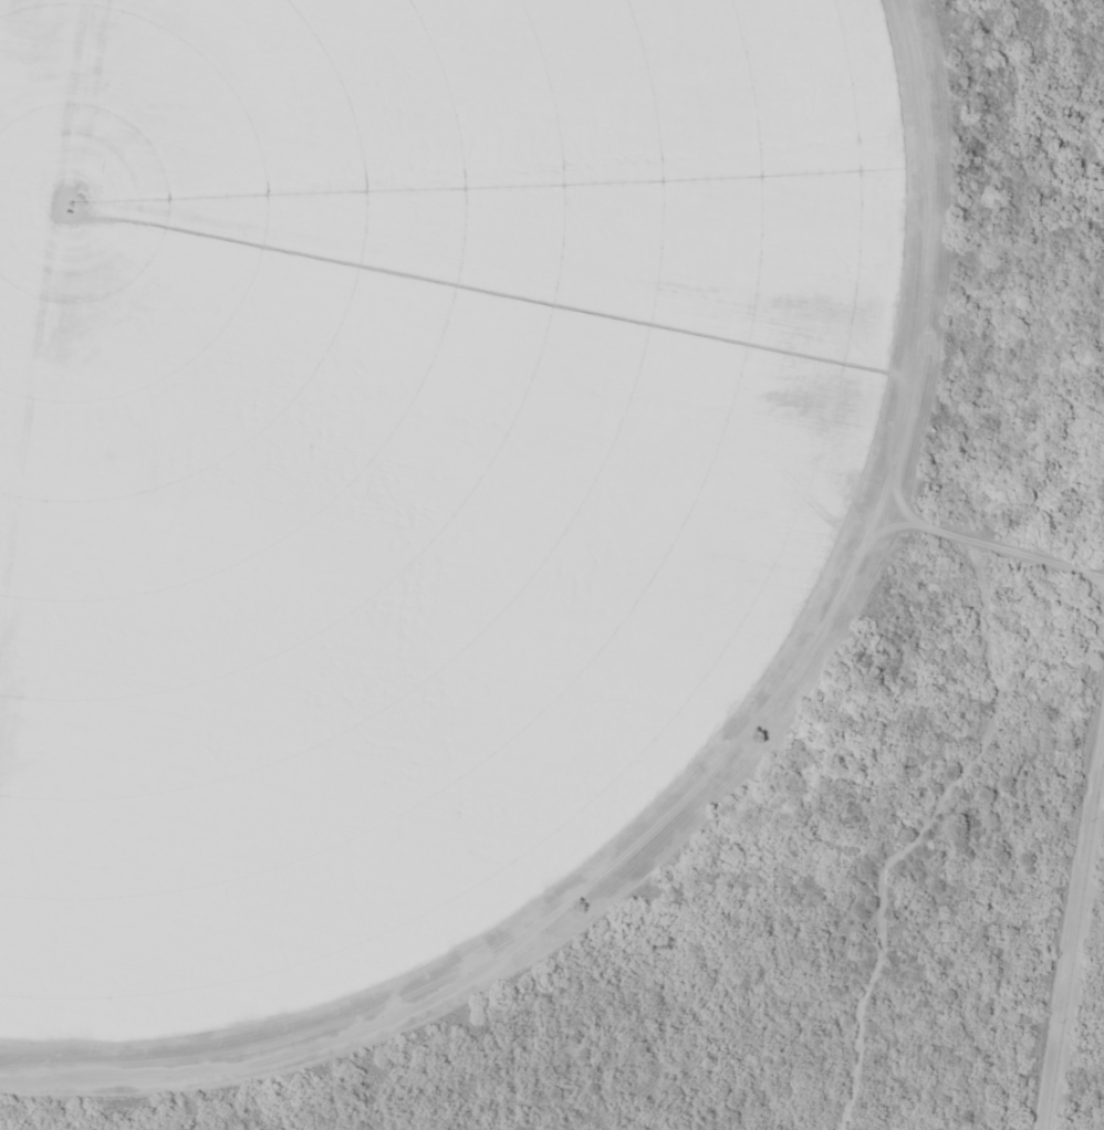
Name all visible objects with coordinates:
road: (39, 299)

